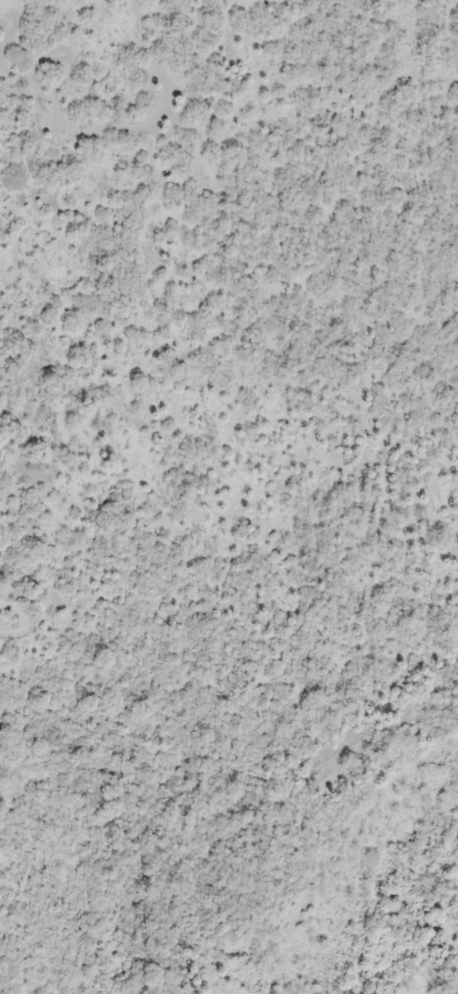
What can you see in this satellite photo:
road: (131, 131)
road: (19, 613)
road: (12, 636)

